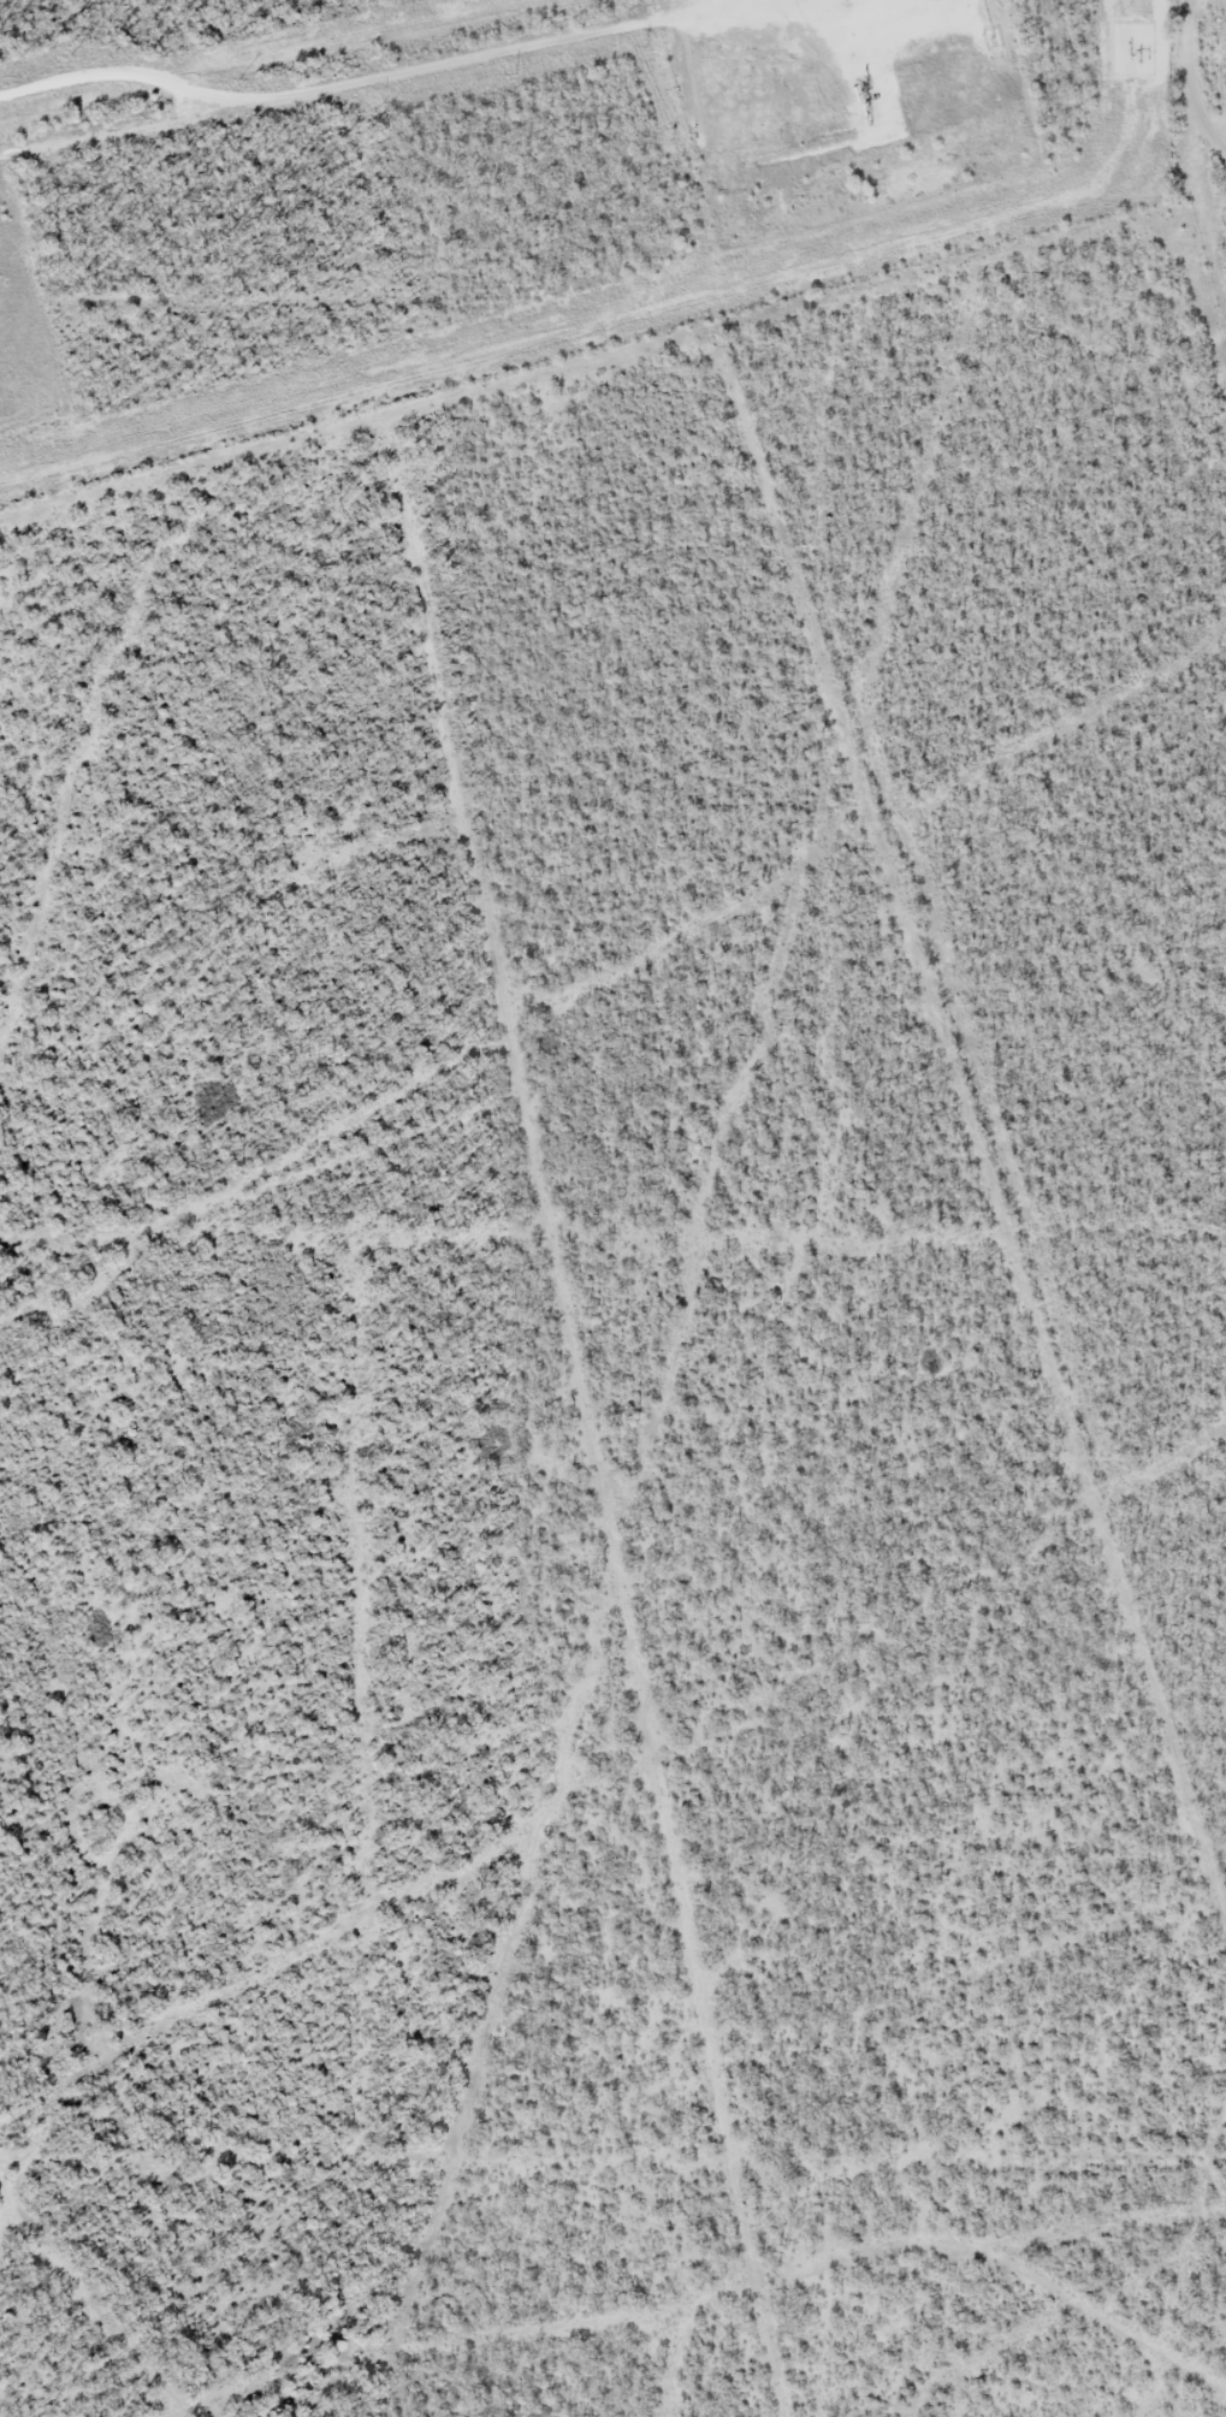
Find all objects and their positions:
road: (420, 72)

